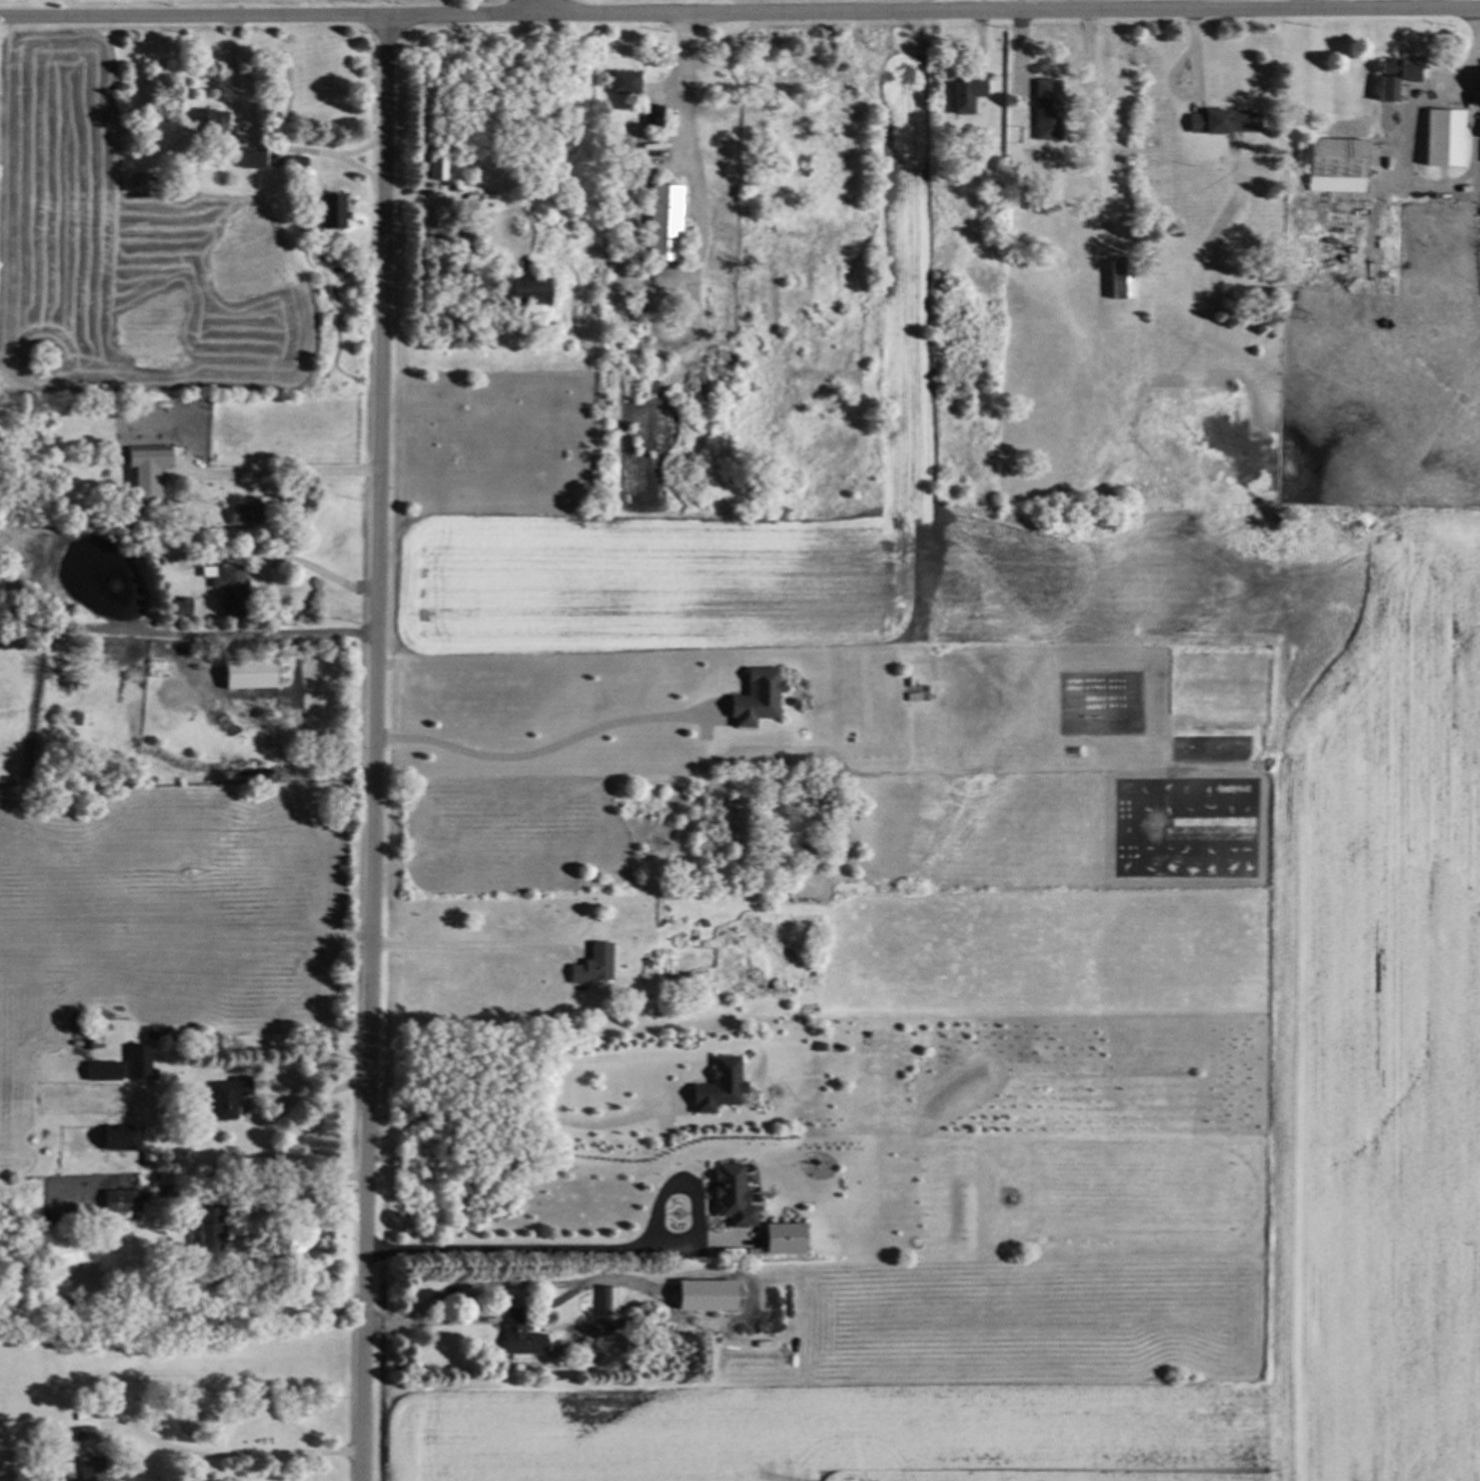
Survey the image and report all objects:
crop: (642, 1)
road: (540, 9)
road: (739, 16)
road: (1474, 57)
building: (1445, 60)
building: (1397, 66)
building: (624, 73)
building: (1479, 81)
building: (964, 93)
building: (1046, 108)
building: (650, 115)
building: (211, 121)
building: (1222, 121)
road: (1092, 123)
building: (1479, 123)
building: (1442, 137)
road: (258, 145)
building: (248, 157)
building: (295, 162)
building: (434, 162)
building: (1334, 164)
road: (362, 172)
road: (1413, 183)
road: (695, 185)
building: (326, 211)
building: (662, 222)
building: (1120, 278)
building: (523, 289)
building: (144, 472)
road: (288, 476)
road: (324, 575)
building: (177, 606)
road: (187, 637)
building: (245, 674)
building: (916, 692)
building: (753, 697)
road: (545, 748)
road: (375, 750)
road: (461, 947)
crop: (1378, 962)
building: (592, 963)
road: (250, 968)
building: (136, 1060)
building: (100, 1070)
building: (716, 1084)
building: (226, 1095)
road: (276, 1101)
road: (509, 1104)
building: (119, 1137)
building: (729, 1195)
road: (265, 1198)
building: (120, 1201)
building: (206, 1228)
building: (780, 1236)
road: (598, 1250)
building: (606, 1299)
road: (430, 1323)
building: (519, 1339)
road: (237, 1456)
building: (90, 1468)

